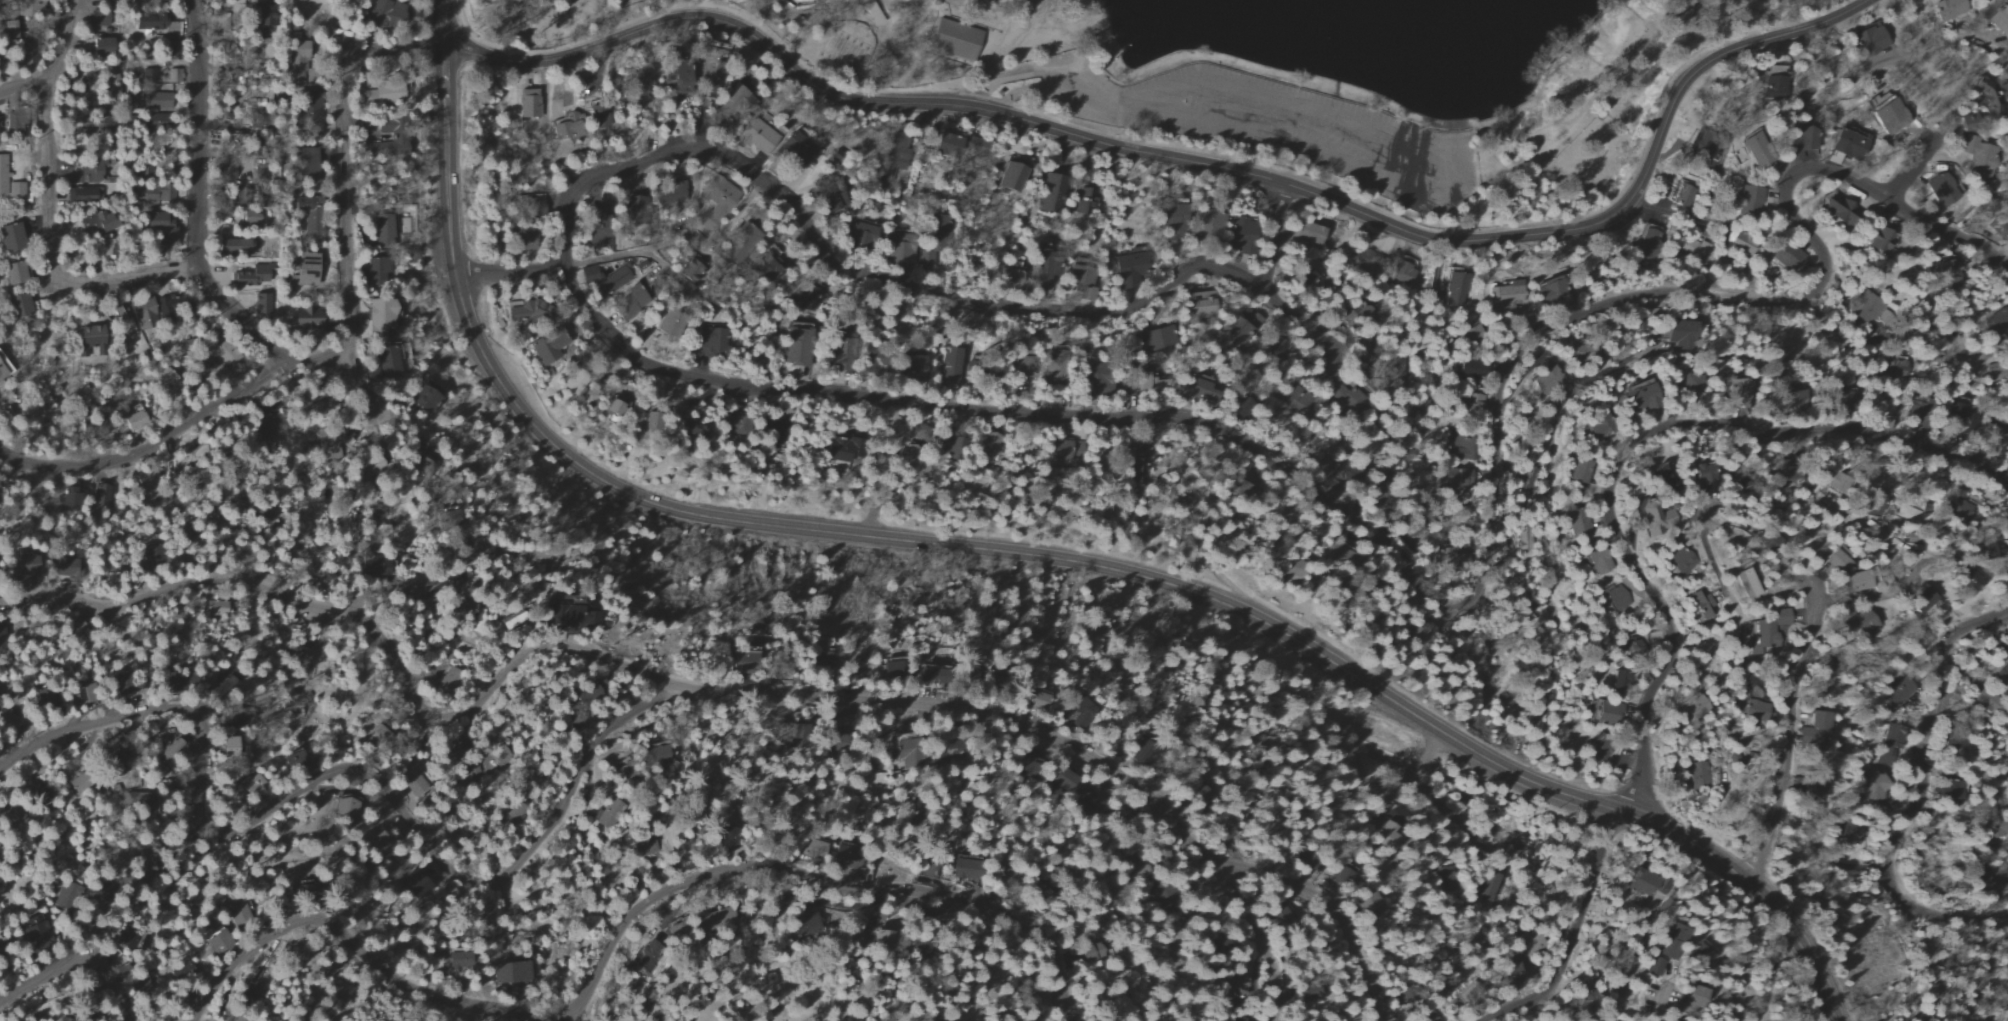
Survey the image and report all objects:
building: (158, 0)
building: (1949, 9)
building: (256, 11)
building: (384, 11)
road: (444, 19)
building: (2000, 20)
building: (96, 23)
building: (155, 24)
building: (955, 39)
building: (1869, 41)
building: (100, 47)
building: (293, 49)
road: (379, 51)
building: (26, 54)
building: (674, 73)
building: (152, 74)
road: (1043, 74)
building: (172, 76)
building: (709, 80)
park: (1272, 80)
road: (1597, 80)
building: (1775, 87)
road: (21, 89)
road: (1055, 90)
building: (380, 94)
building: (156, 98)
road: (1821, 98)
building: (1987, 99)
building: (525, 103)
building: (599, 117)
building: (1888, 117)
building: (15, 120)
building: (568, 125)
parking lot: (1259, 126)
road: (197, 133)
building: (757, 135)
building: (1806, 138)
building: (947, 142)
road: (1177, 145)
building: (392, 147)
building: (1846, 147)
building: (1699, 149)
building: (1757, 149)
road: (1194, 161)
building: (1983, 161)
road: (1465, 168)
building: (307, 170)
road: (1916, 171)
building: (84, 175)
road: (1450, 175)
building: (3, 176)
building: (16, 190)
building: (1941, 190)
building: (1053, 193)
building: (157, 194)
building: (84, 195)
building: (1683, 195)
building: (1085, 200)
building: (713, 202)
building: (1747, 202)
road: (46, 203)
building: (1836, 209)
building: (2003, 215)
building: (305, 218)
building: (1169, 220)
building: (97, 221)
building: (941, 226)
building: (1202, 226)
road: (344, 227)
building: (595, 227)
building: (158, 228)
building: (385, 230)
building: (1238, 233)
building: (746, 234)
road: (1271, 234)
building: (1306, 234)
building: (12, 237)
building: (1649, 240)
building: (1742, 242)
building: (1874, 242)
building: (234, 246)
building: (901, 249)
building: (1695, 250)
building: (1787, 256)
road: (609, 257)
building: (926, 260)
building: (1044, 268)
building: (1127, 268)
building: (371, 269)
building: (300, 270)
building: (1403, 272)
building: (1948, 272)
building: (17, 273)
road: (861, 274)
building: (250, 276)
building: (1081, 277)
building: (605, 278)
building: (1454, 290)
building: (1551, 292)
building: (1503, 294)
building: (629, 302)
building: (1199, 303)
building: (260, 304)
building: (22, 305)
building: (1864, 308)
building: (141, 310)
building: (525, 311)
building: (303, 317)
building: (380, 317)
building: (1883, 318)
road: (238, 320)
road: (1302, 320)
building: (669, 326)
building: (1678, 334)
building: (87, 339)
building: (1156, 339)
building: (710, 342)
building: (541, 346)
building: (795, 346)
building: (1585, 353)
building: (227, 355)
road: (317, 359)
building: (382, 363)
building: (950, 364)
building: (909, 366)
building: (1471, 369)
building: (1054, 372)
building: (2, 373)
building: (1140, 380)
building: (1544, 380)
building: (1690, 384)
building: (163, 385)
building: (1198, 391)
building: (1736, 391)
building: (1643, 398)
building: (1839, 399)
road: (366, 401)
building: (1918, 409)
building: (1958, 420)
building: (134, 421)
building: (723, 425)
building: (1603, 427)
building: (267, 431)
building: (680, 433)
building: (331, 437)
road: (152, 444)
building: (950, 444)
building: (989, 445)
building: (1462, 446)
building: (837, 450)
building: (376, 465)
building: (1581, 470)
building: (1138, 472)
building: (1530, 476)
building: (1703, 477)
building: (1456, 478)
building: (1664, 480)
building: (103, 495)
building: (71, 497)
building: (1871, 503)
building: (1960, 509)
building: (1652, 519)
building: (1577, 522)
road: (1725, 527)
building: (1416, 535)
building: (1525, 540)
building: (1338, 554)
road: (1045, 556)
building: (550, 557)
building: (1453, 559)
road: (1399, 561)
road: (1632, 562)
building: (1681, 562)
building: (1598, 563)
building: (1835, 563)
building: (23, 564)
building: (66, 566)
building: (377, 566)
road: (179, 582)
building: (1854, 583)
building: (1744, 584)
road: (432, 586)
building: (1617, 599)
building: (1921, 600)
building: (1701, 606)
building: (216, 607)
building: (1766, 630)
building: (1858, 630)
building: (743, 655)
building: (892, 671)
building: (2003, 674)
building: (929, 675)
building: (118, 678)
building: (1618, 681)
building: (175, 683)
building: (222, 686)
road: (773, 687)
building: (1080, 710)
building: (1689, 711)
building: (1747, 712)
building: (1603, 713)
road: (1788, 728)
building: (1811, 735)
building: (378, 736)
road: (1336, 739)
building: (837, 740)
building: (171, 746)
building: (230, 747)
building: (655, 754)
building: (912, 755)
building: (940, 758)
building: (292, 760)
road: (346, 768)
building: (623, 771)
building: (1690, 781)
building: (1064, 782)
building: (1871, 786)
building: (1807, 791)
road: (1921, 791)
building: (1949, 792)
building: (1090, 801)
building: (145, 804)
building: (344, 805)
building: (608, 814)
building: (1387, 836)
building: (644, 848)
building: (1345, 878)
building: (1637, 882)
building: (1982, 883)
building: (1491, 887)
building: (1369, 909)
road: (1335, 910)
building: (1278, 913)
building: (724, 919)
road: (630, 923)
building: (810, 923)
building: (32, 934)
building: (126, 939)
road: (1259, 942)
building: (1667, 946)
building: (1701, 953)
building: (646, 955)
building: (460, 959)
road: (80, 960)
road: (1769, 968)
building: (513, 971)
building: (1477, 995)
building: (1691, 996)
road: (1666, 1006)
building: (240, 1019)
building: (68, 1020)

